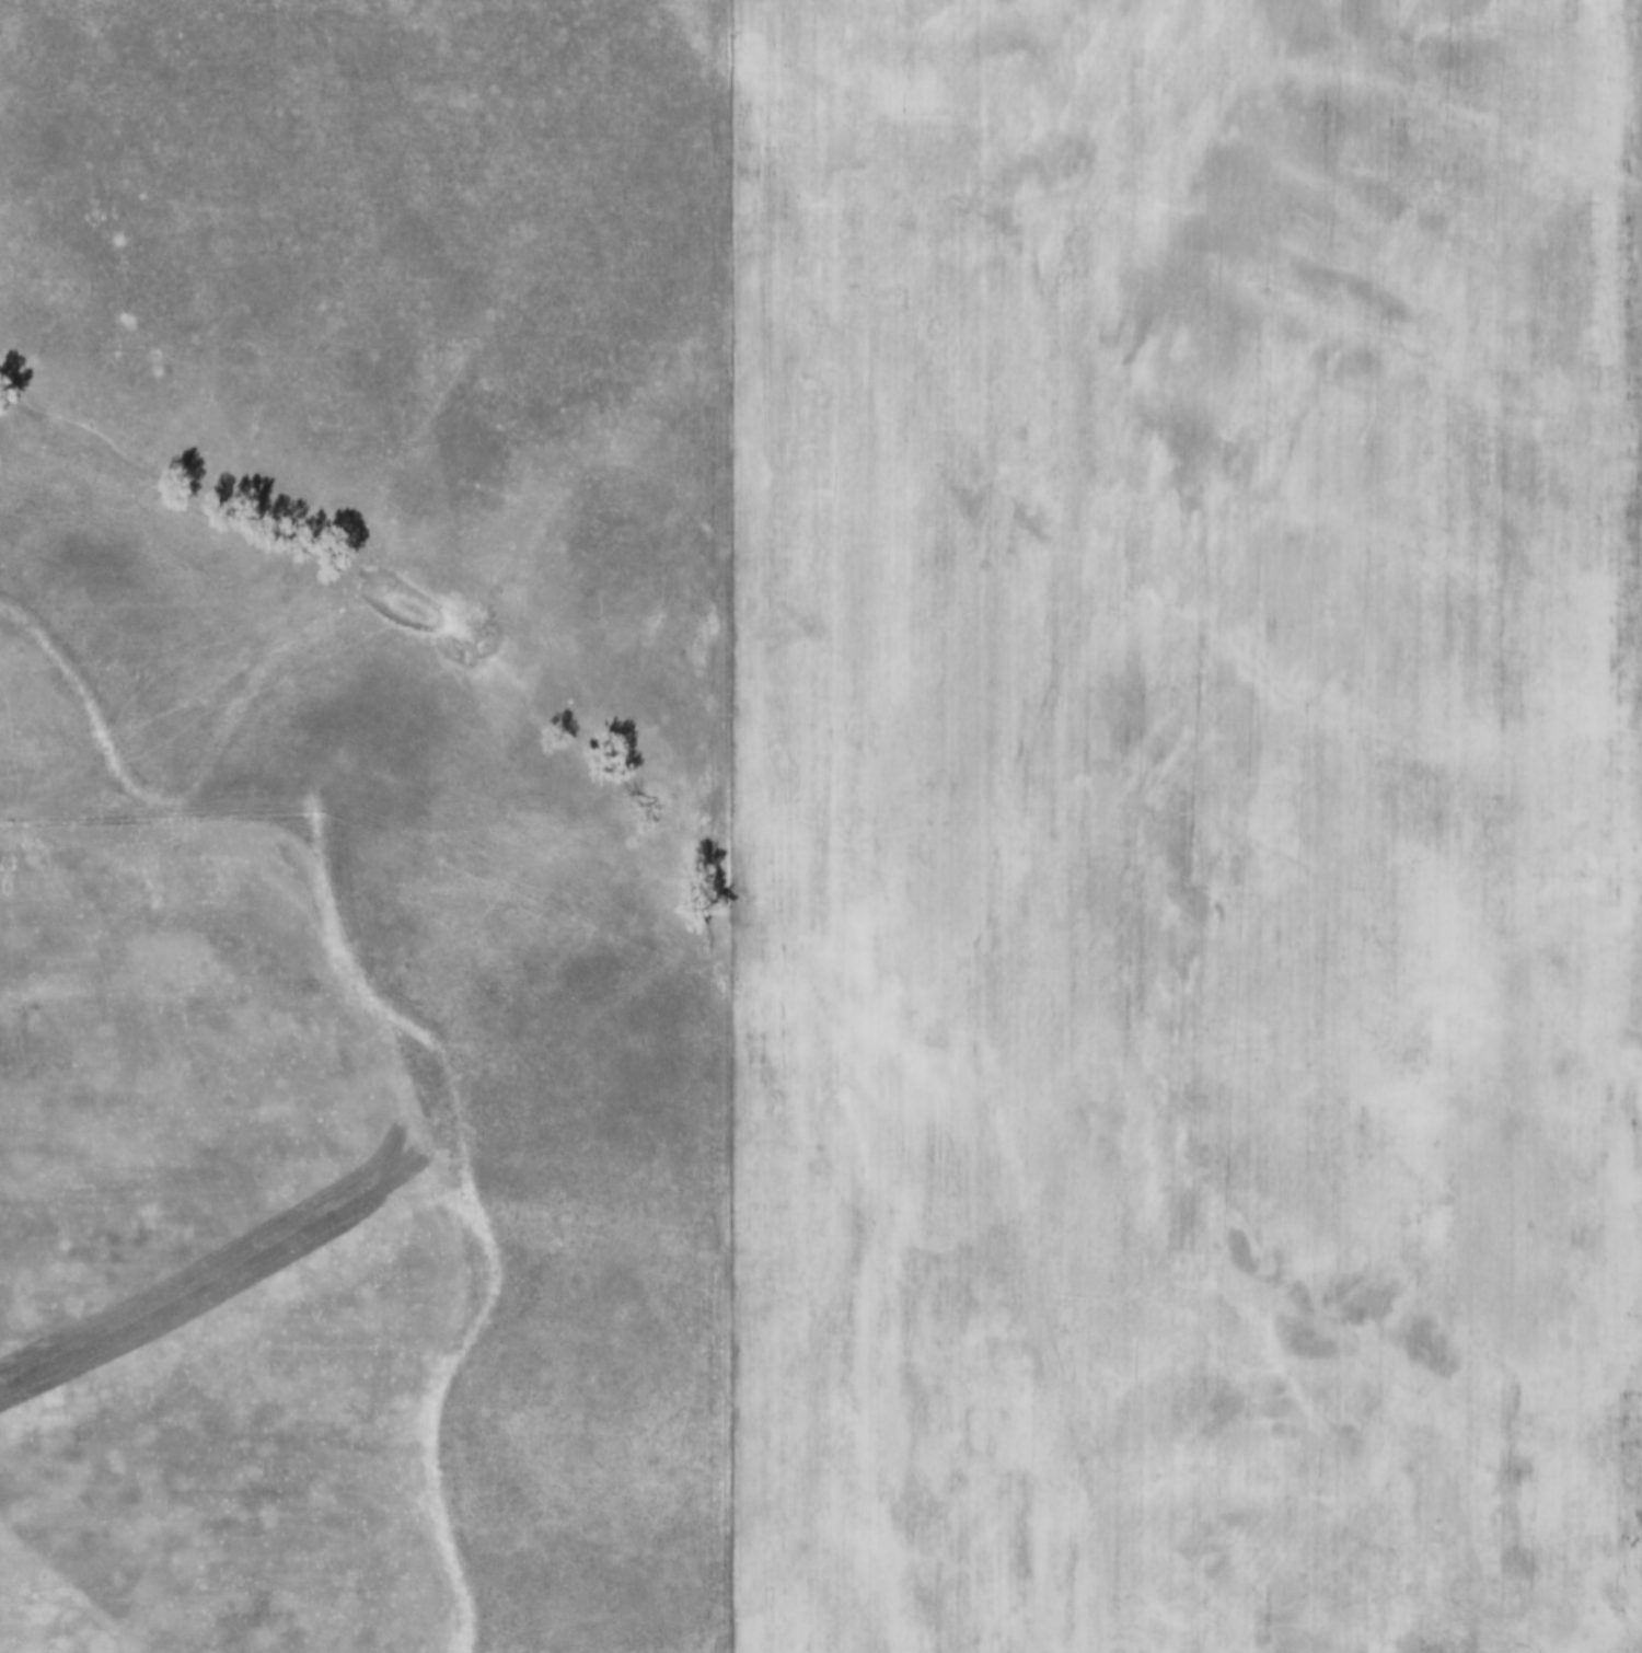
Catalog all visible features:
road: (730, 827)

